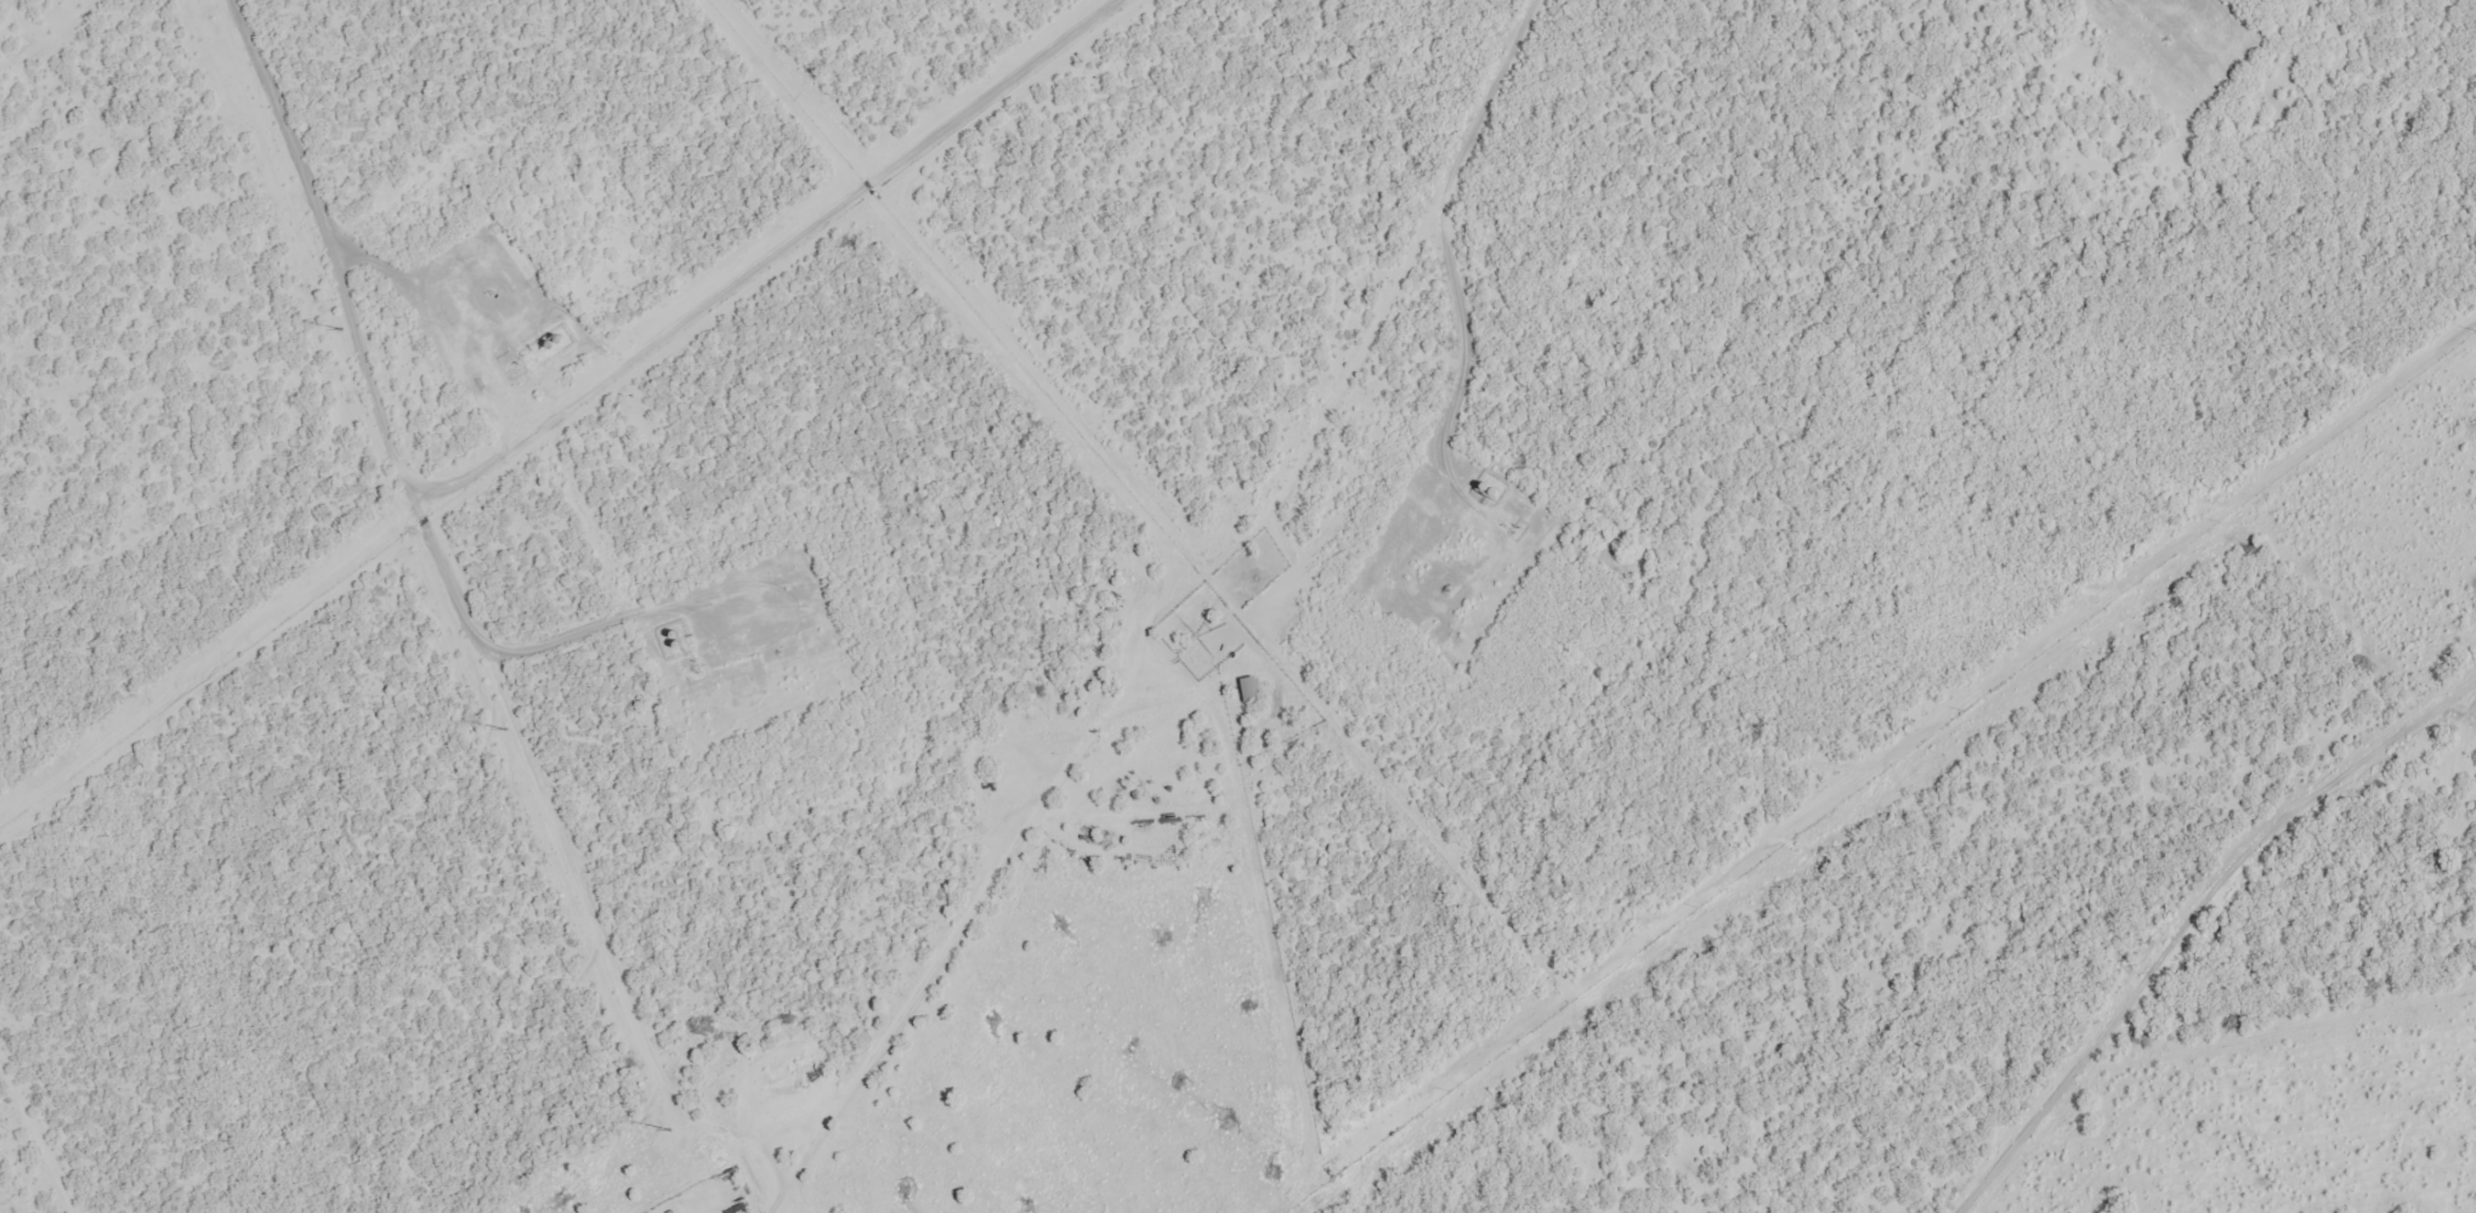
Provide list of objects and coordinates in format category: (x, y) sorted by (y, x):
power tower: (341, 330)
power tower: (505, 730)
road: (1887, 790)
road: (2193, 918)
power tower: (669, 1132)

